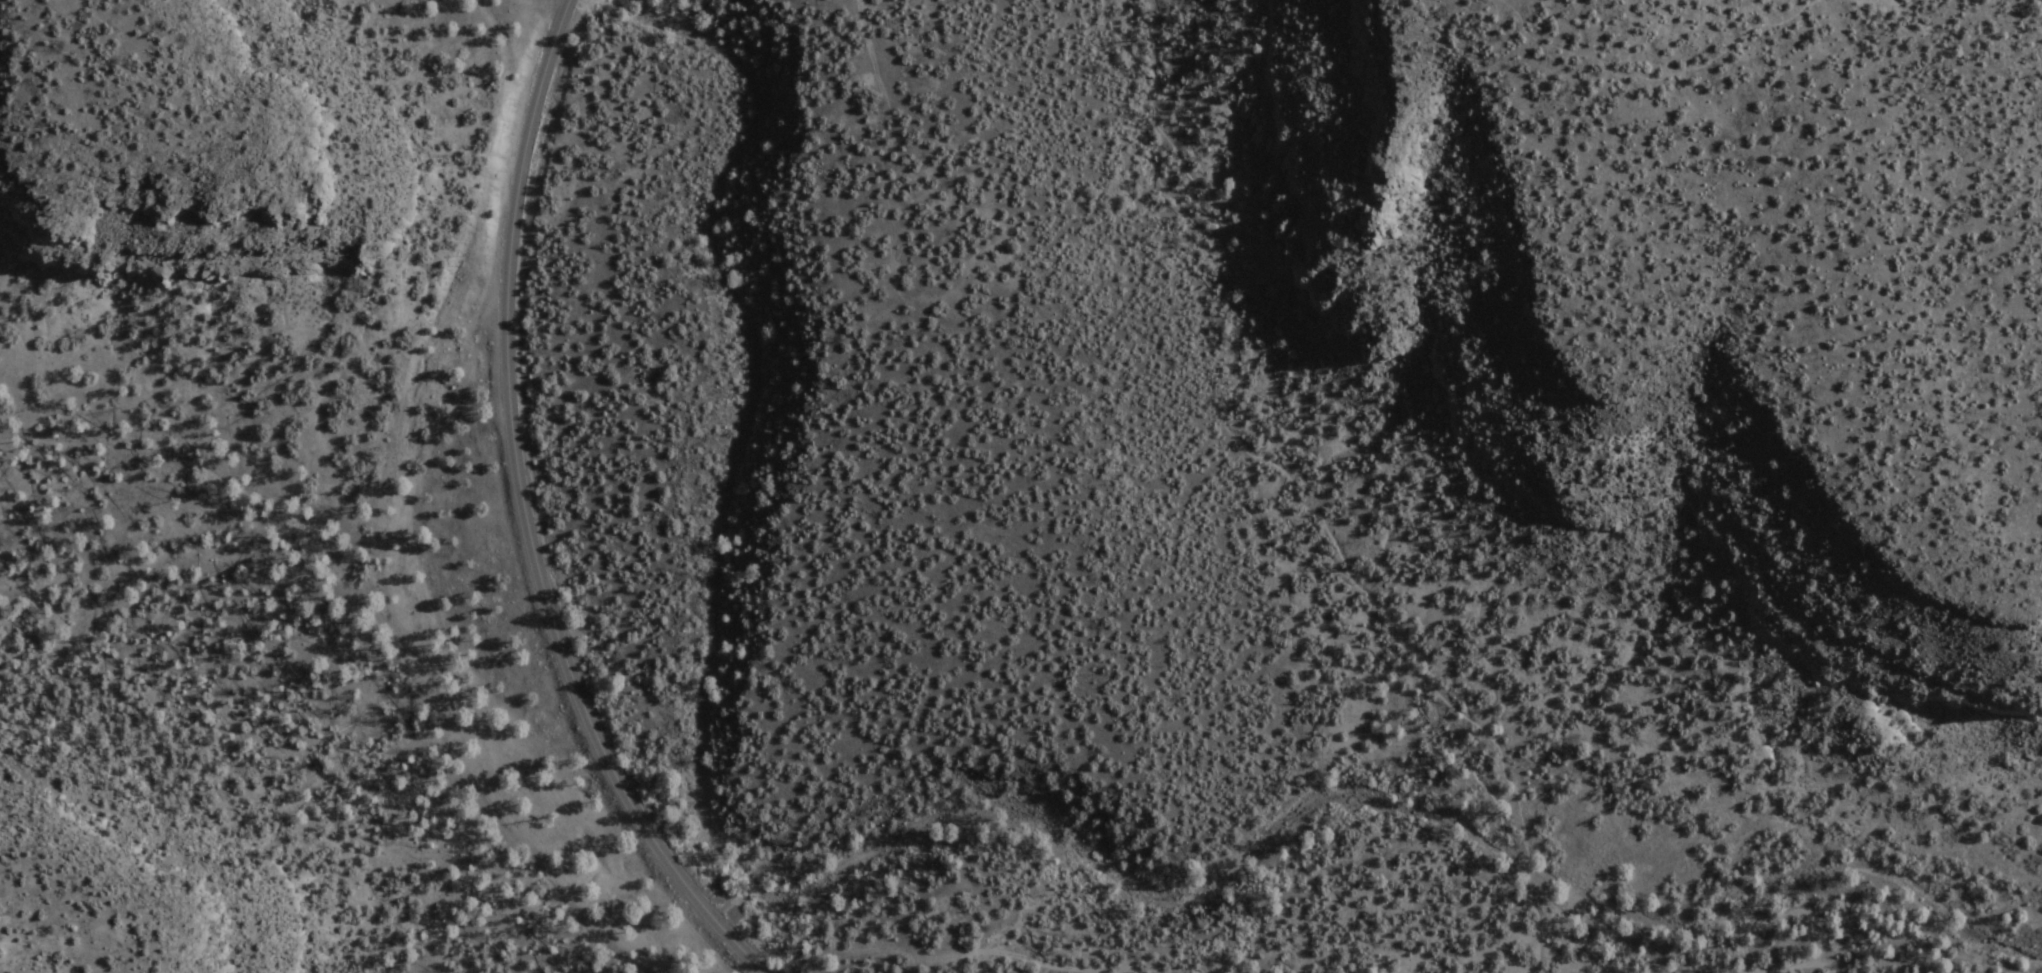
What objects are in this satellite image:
road: (1656, 67)
road: (1295, 489)
road: (526, 515)
road: (1091, 961)

